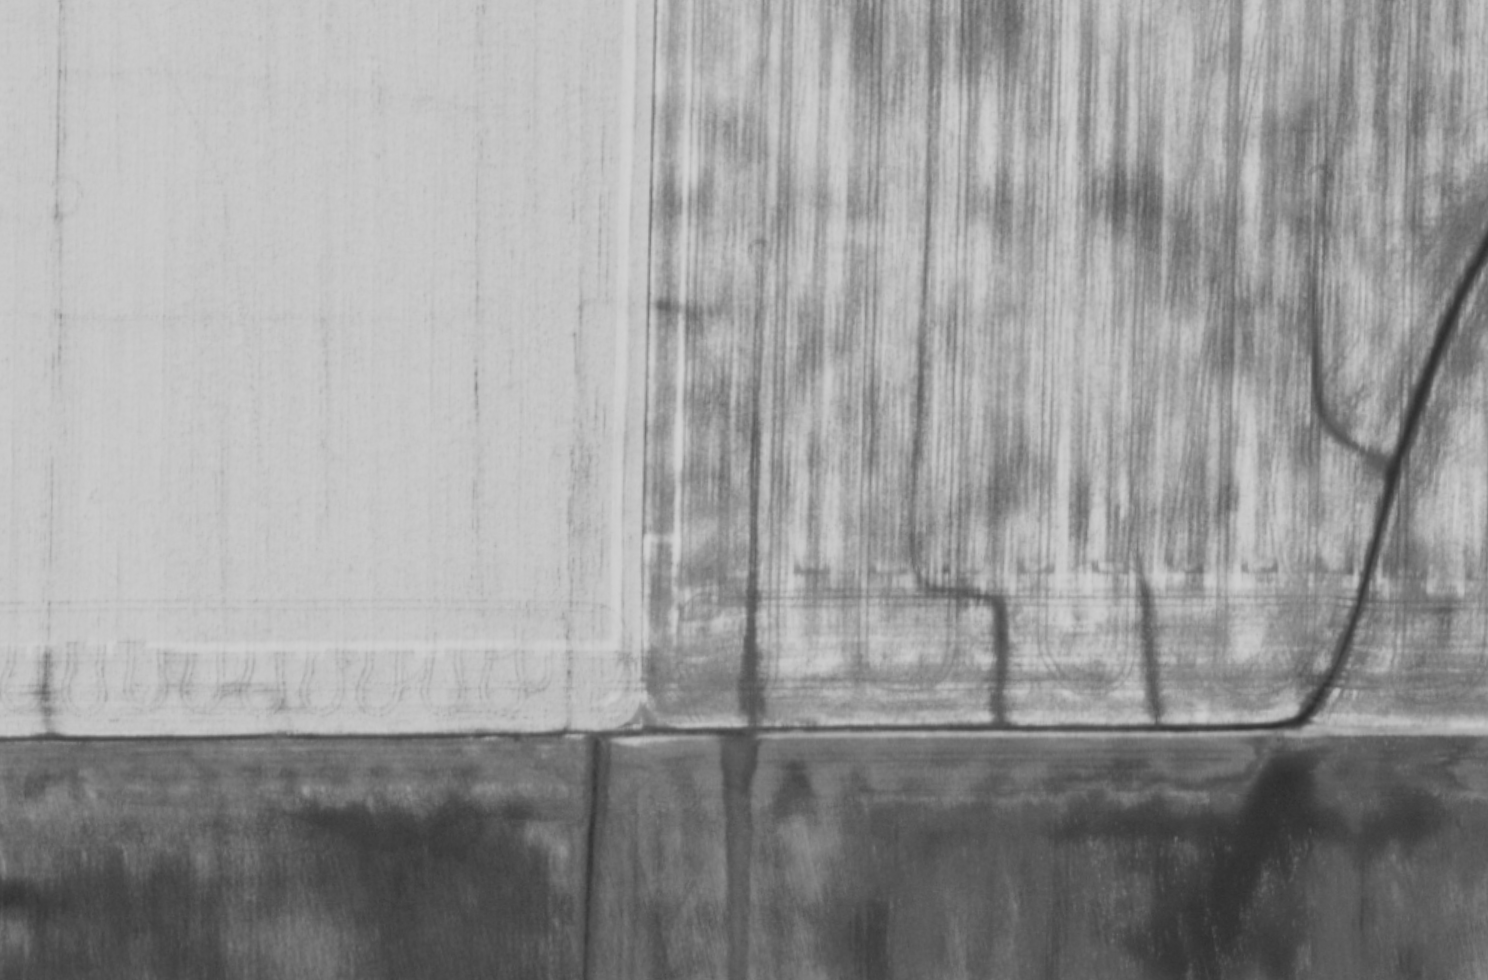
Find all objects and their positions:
crop: (312, 359)
crop: (1057, 360)
crop: (1062, 858)
crop: (315, 859)

